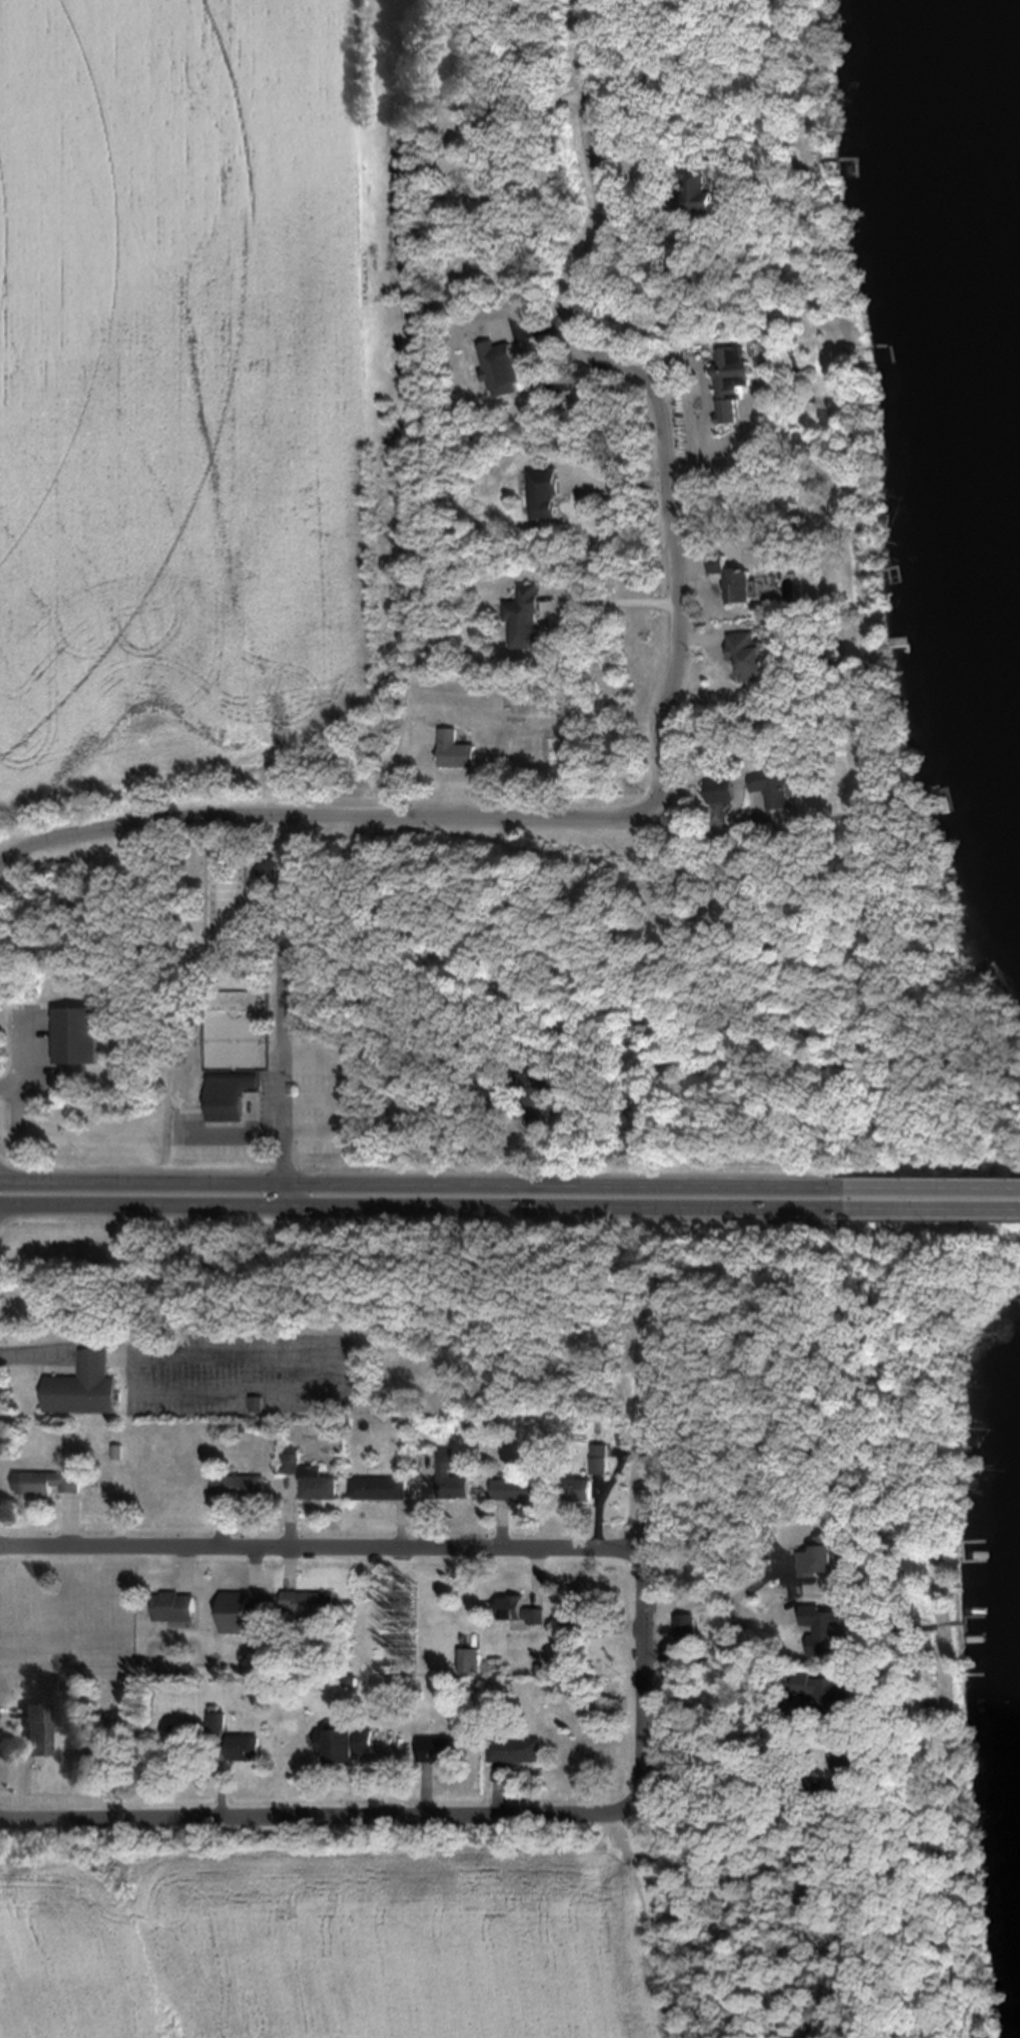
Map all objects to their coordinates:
building: (706, 192)
building: (502, 368)
building: (744, 379)
road: (665, 452)
building: (547, 491)
building: (740, 579)
building: (528, 617)
building: (758, 656)
building: (458, 749)
building: (779, 786)
building: (726, 789)
road: (398, 820)
road: (165, 825)
road: (22, 852)
road: (401, 1008)
road: (279, 1011)
building: (79, 1035)
building: (231, 1094)
road: (420, 1182)
road: (931, 1184)
road: (421, 1203)
road: (931, 1206)
building: (85, 1385)
building: (117, 1451)
building: (598, 1457)
building: (292, 1461)
building: (451, 1473)
building: (47, 1482)
building: (320, 1483)
building: (241, 1485)
building: (379, 1487)
building: (516, 1488)
building: (579, 1488)
road: (321, 1549)
building: (829, 1555)
building: (312, 1602)
building: (177, 1605)
building: (518, 1610)
building: (244, 1613)
building: (581, 1620)
building: (832, 1629)
building: (469, 1659)
road: (641, 1677)
building: (829, 1688)
building: (219, 1720)
building: (35, 1727)
building: (348, 1740)
building: (248, 1745)
building: (440, 1748)
building: (517, 1748)
road: (317, 1814)
crop: (325, 1930)

